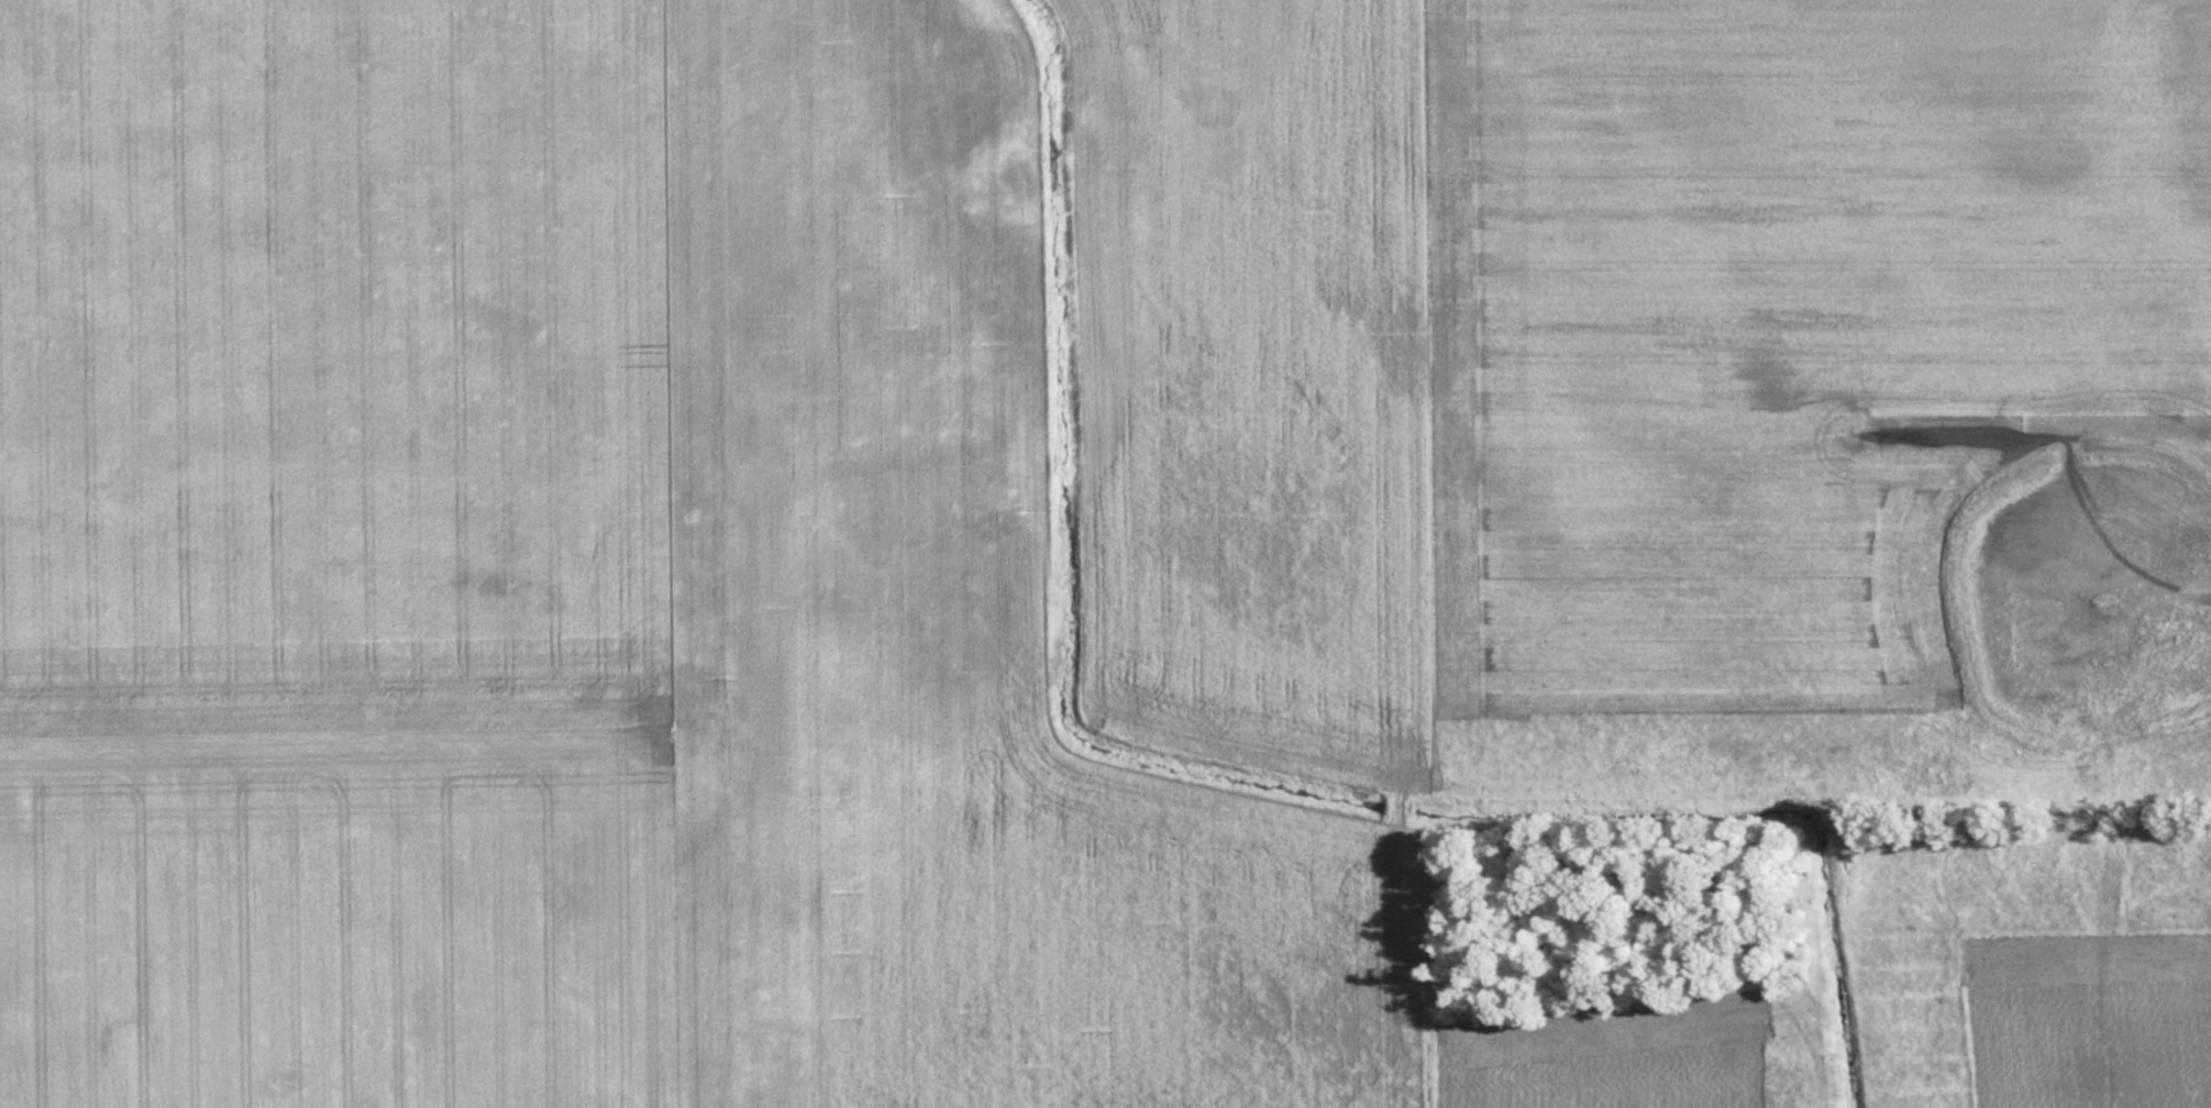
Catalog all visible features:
wind turbine: (2100, 597)

